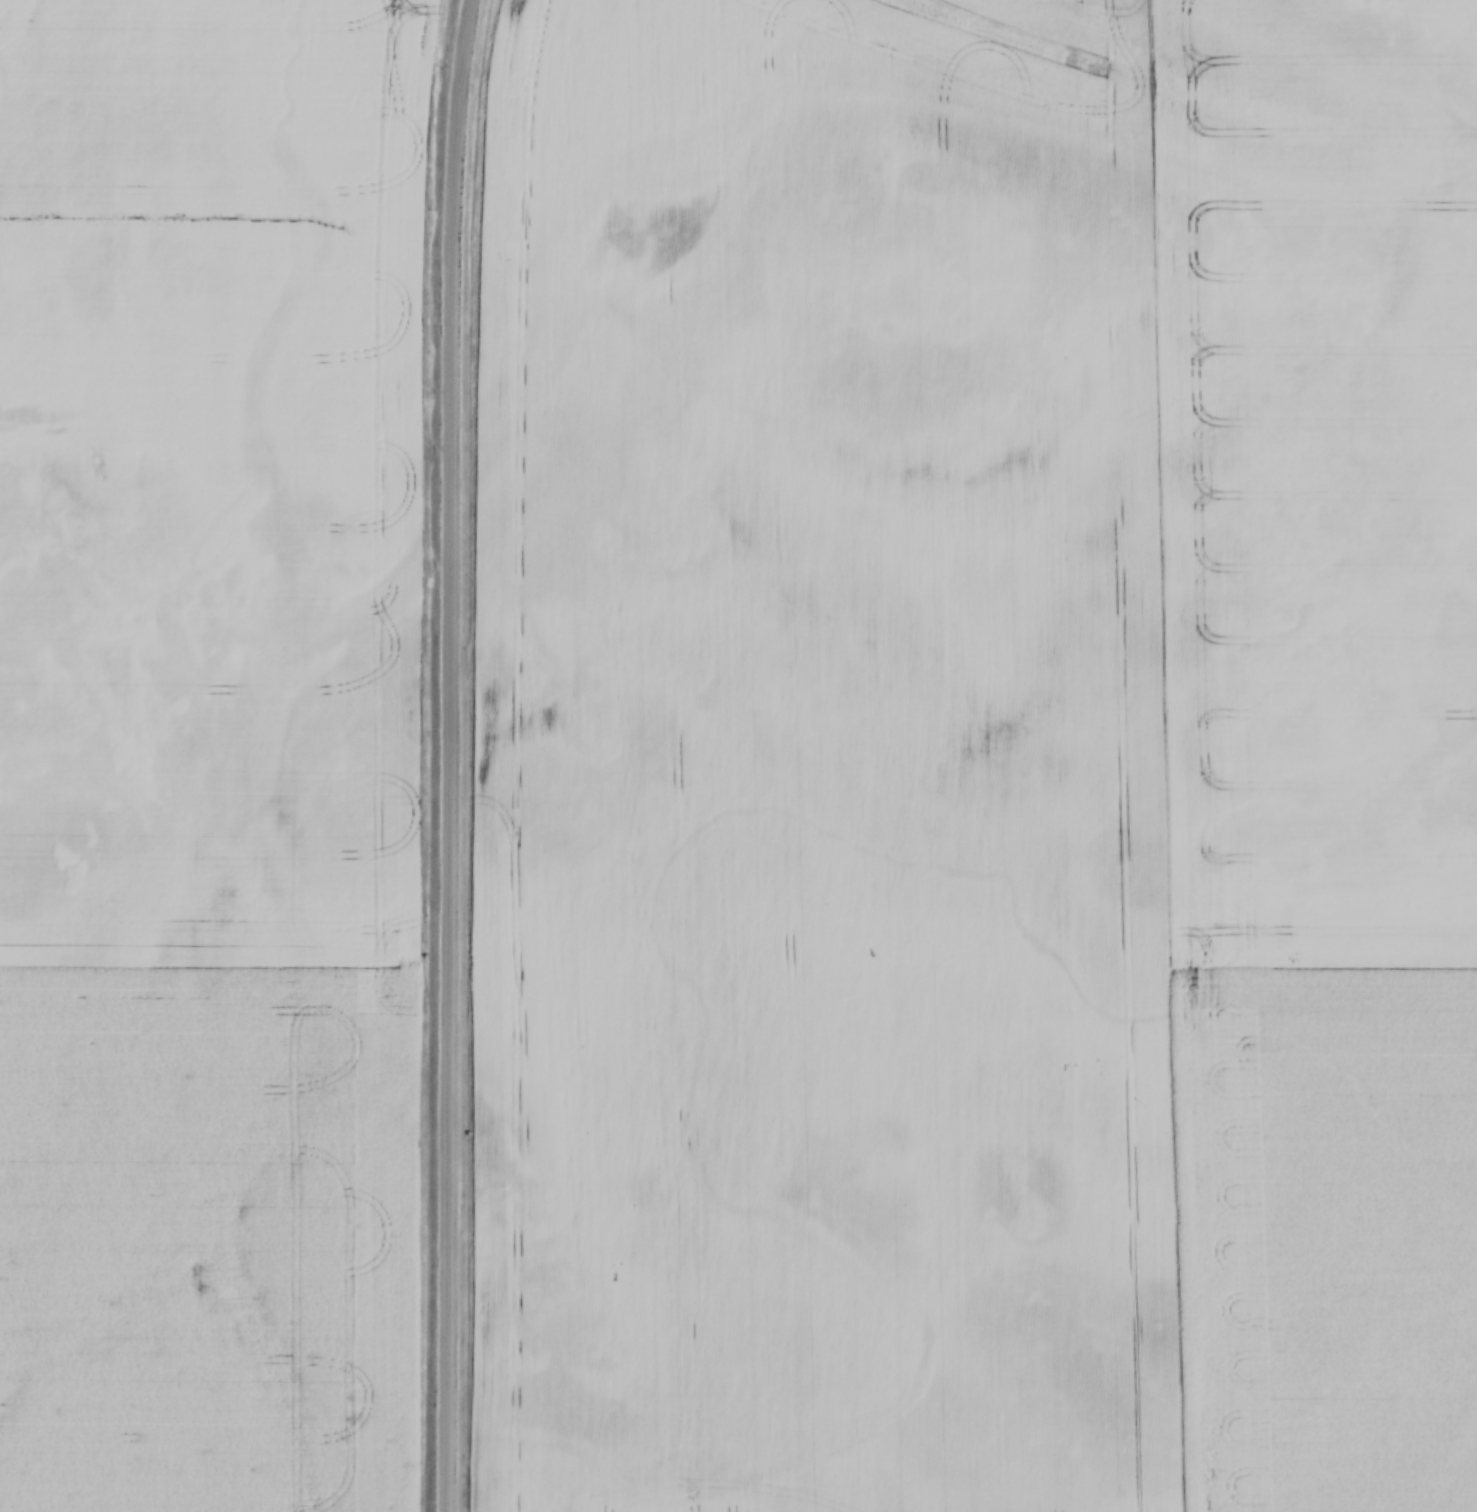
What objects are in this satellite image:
road: (452, 755)

